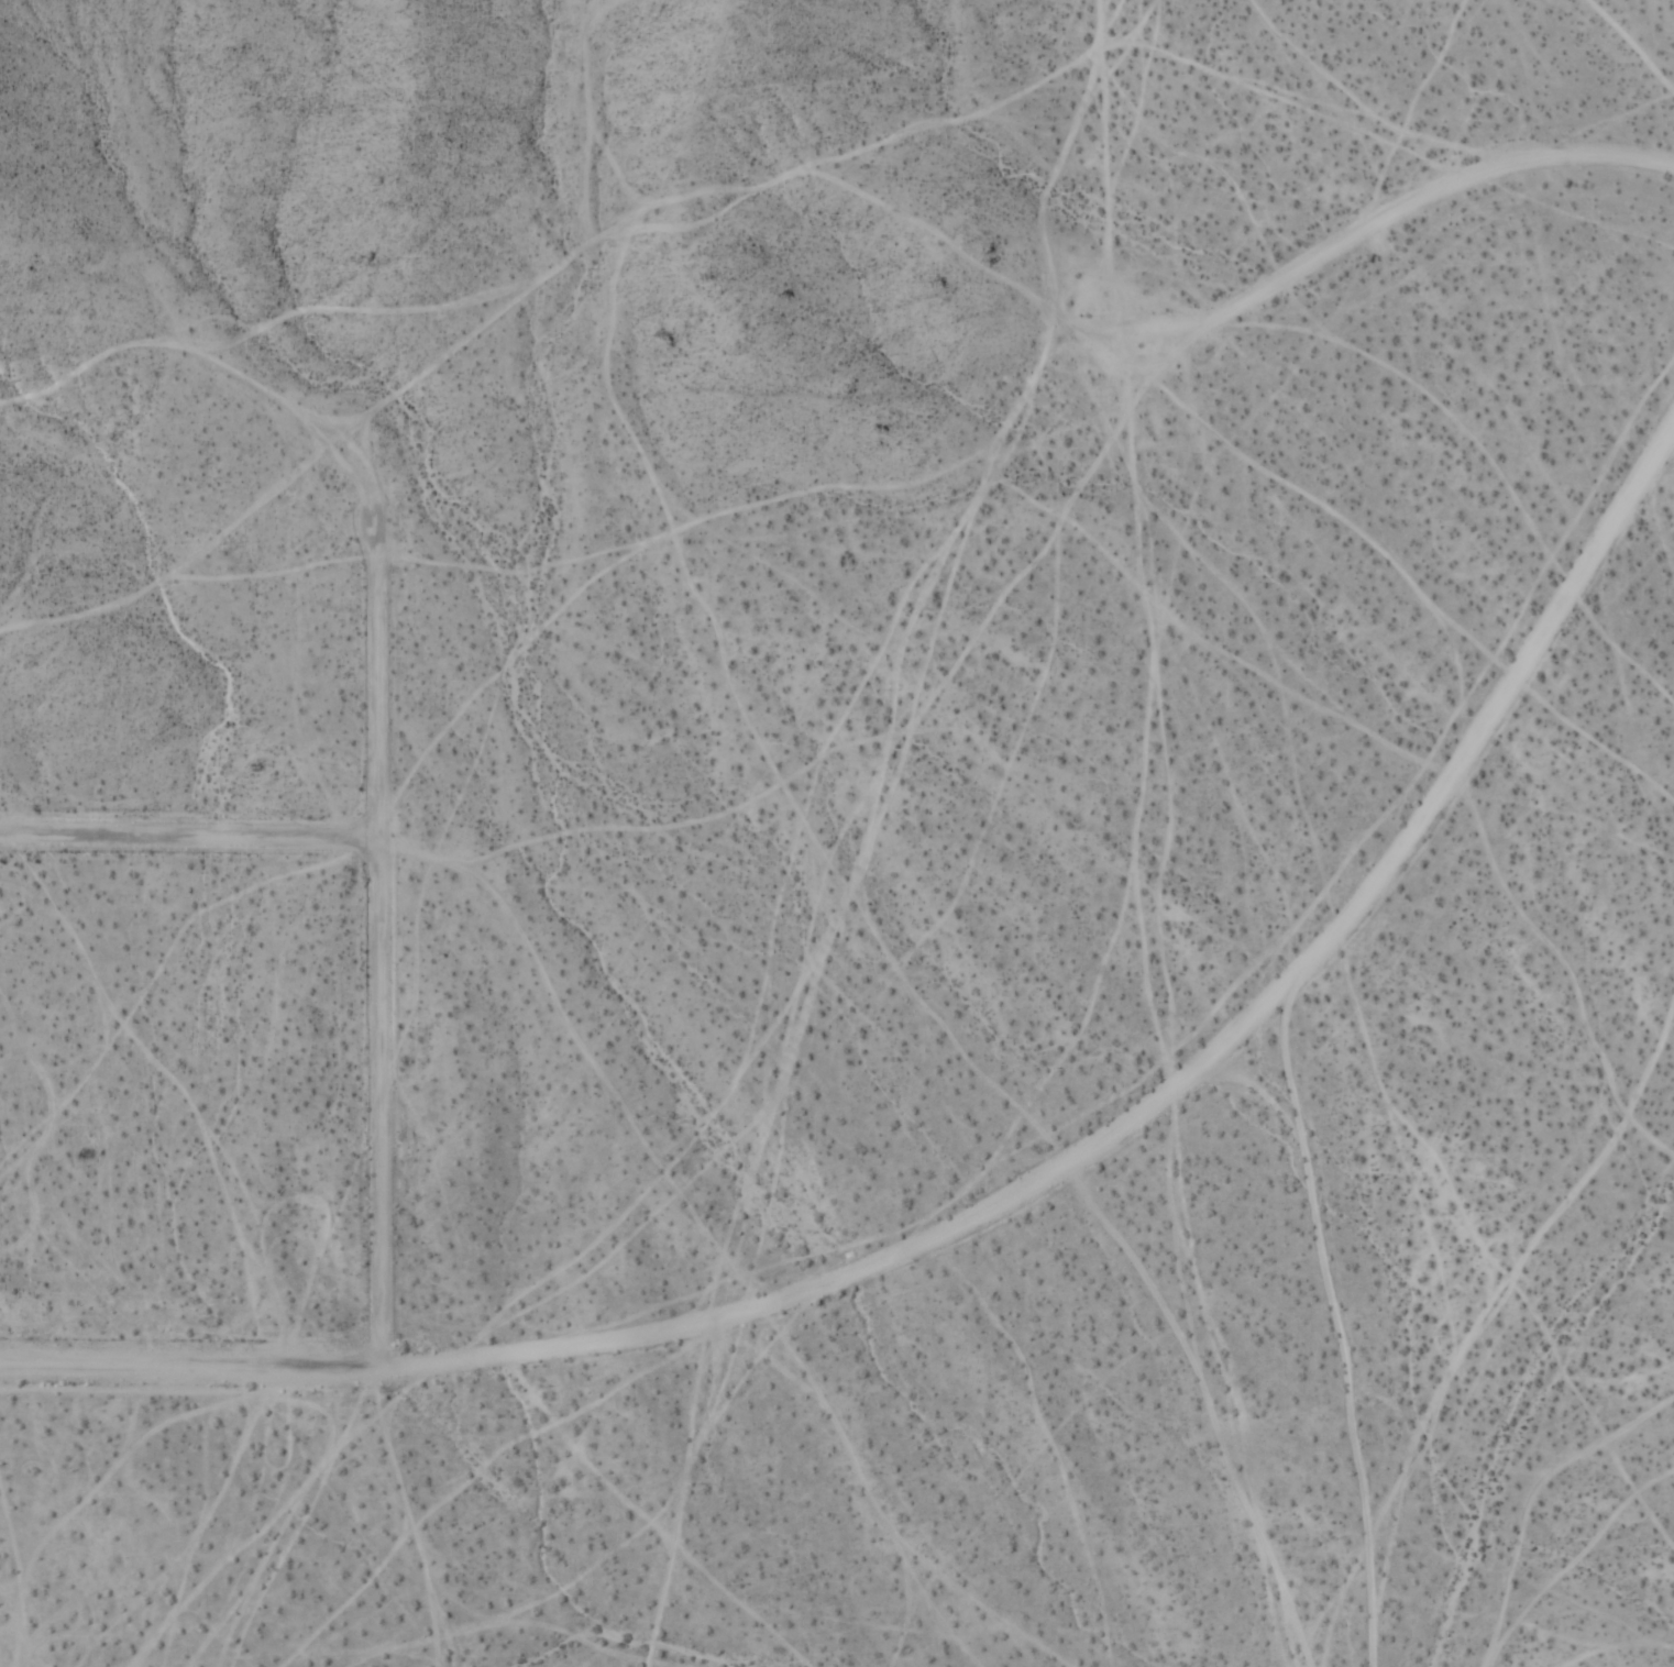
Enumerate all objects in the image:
park: (757, 186)
road: (1378, 224)
road: (189, 839)
road: (381, 946)
road: (1004, 1203)

